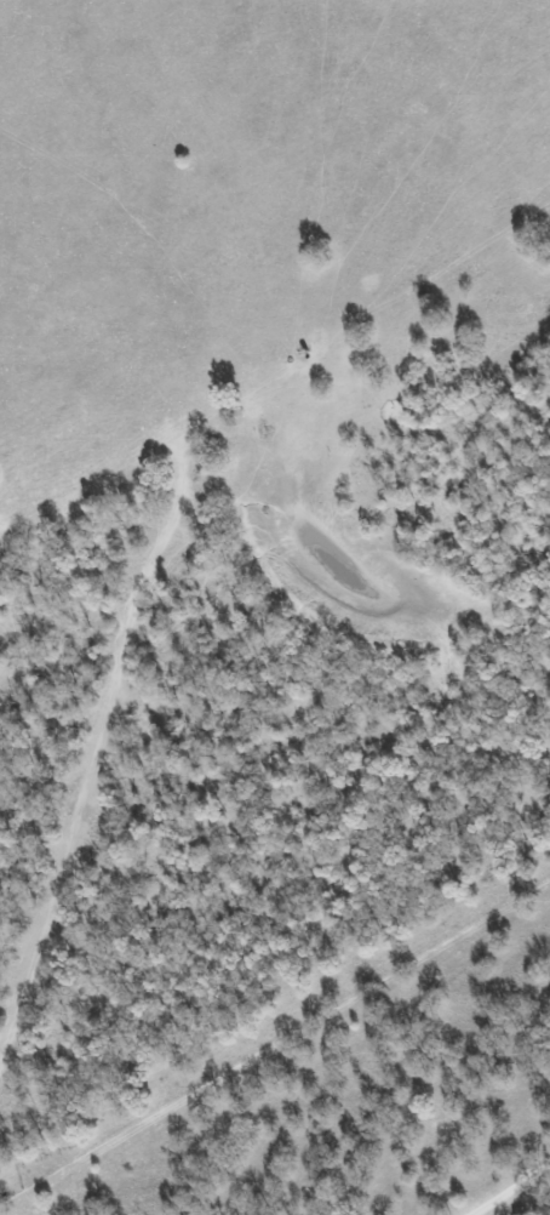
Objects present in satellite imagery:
road: (505, 1176)

